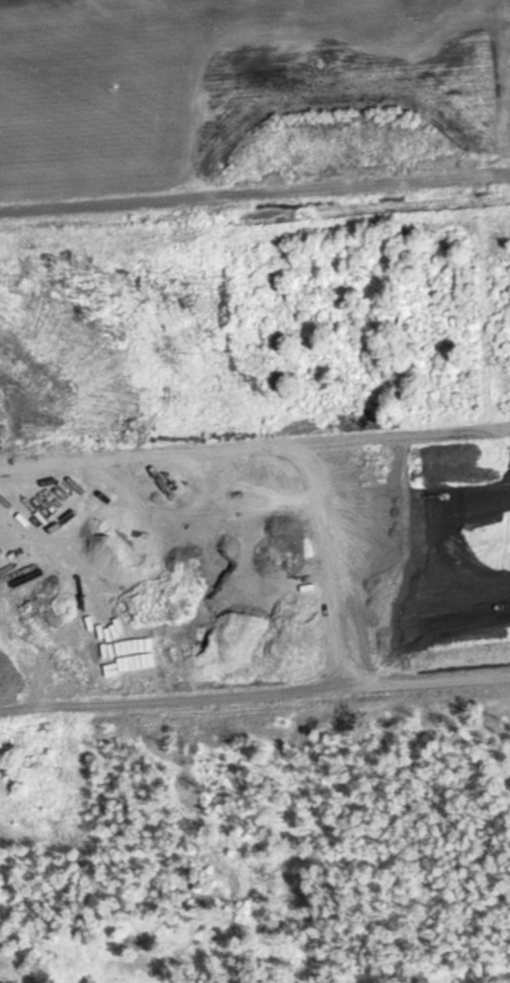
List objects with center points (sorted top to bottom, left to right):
road: (255, 442)

